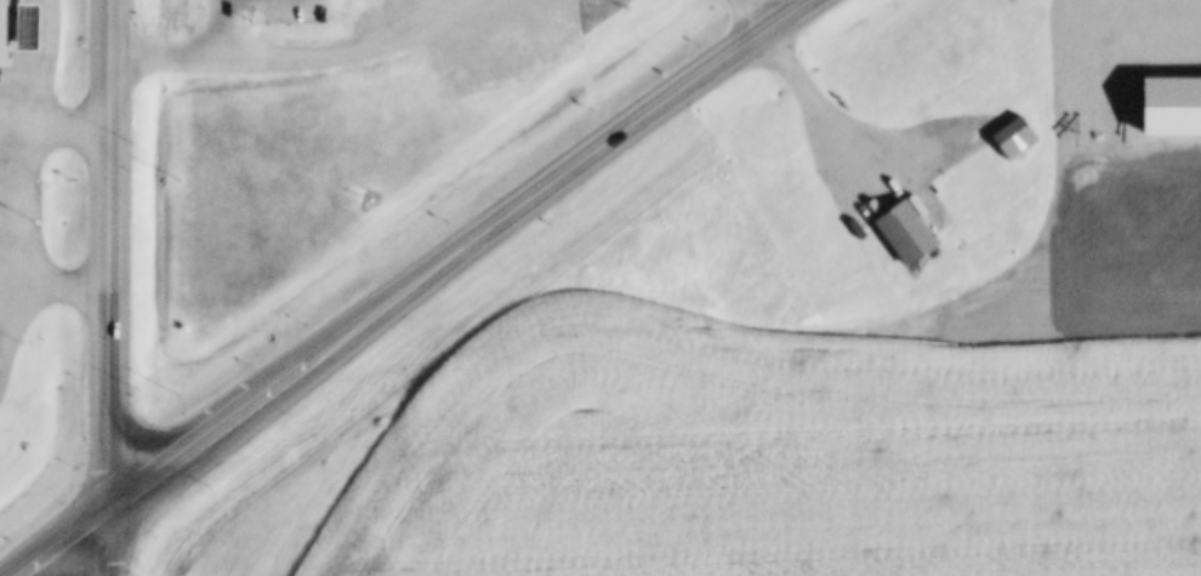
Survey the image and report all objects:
road: (758, 18)
building: (32, 29)
building: (5, 33)
road: (307, 63)
road: (824, 107)
building: (1017, 138)
road: (536, 199)
building: (909, 235)
road: (118, 256)
road: (229, 428)
road: (160, 480)
road: (75, 544)
road: (118, 544)

